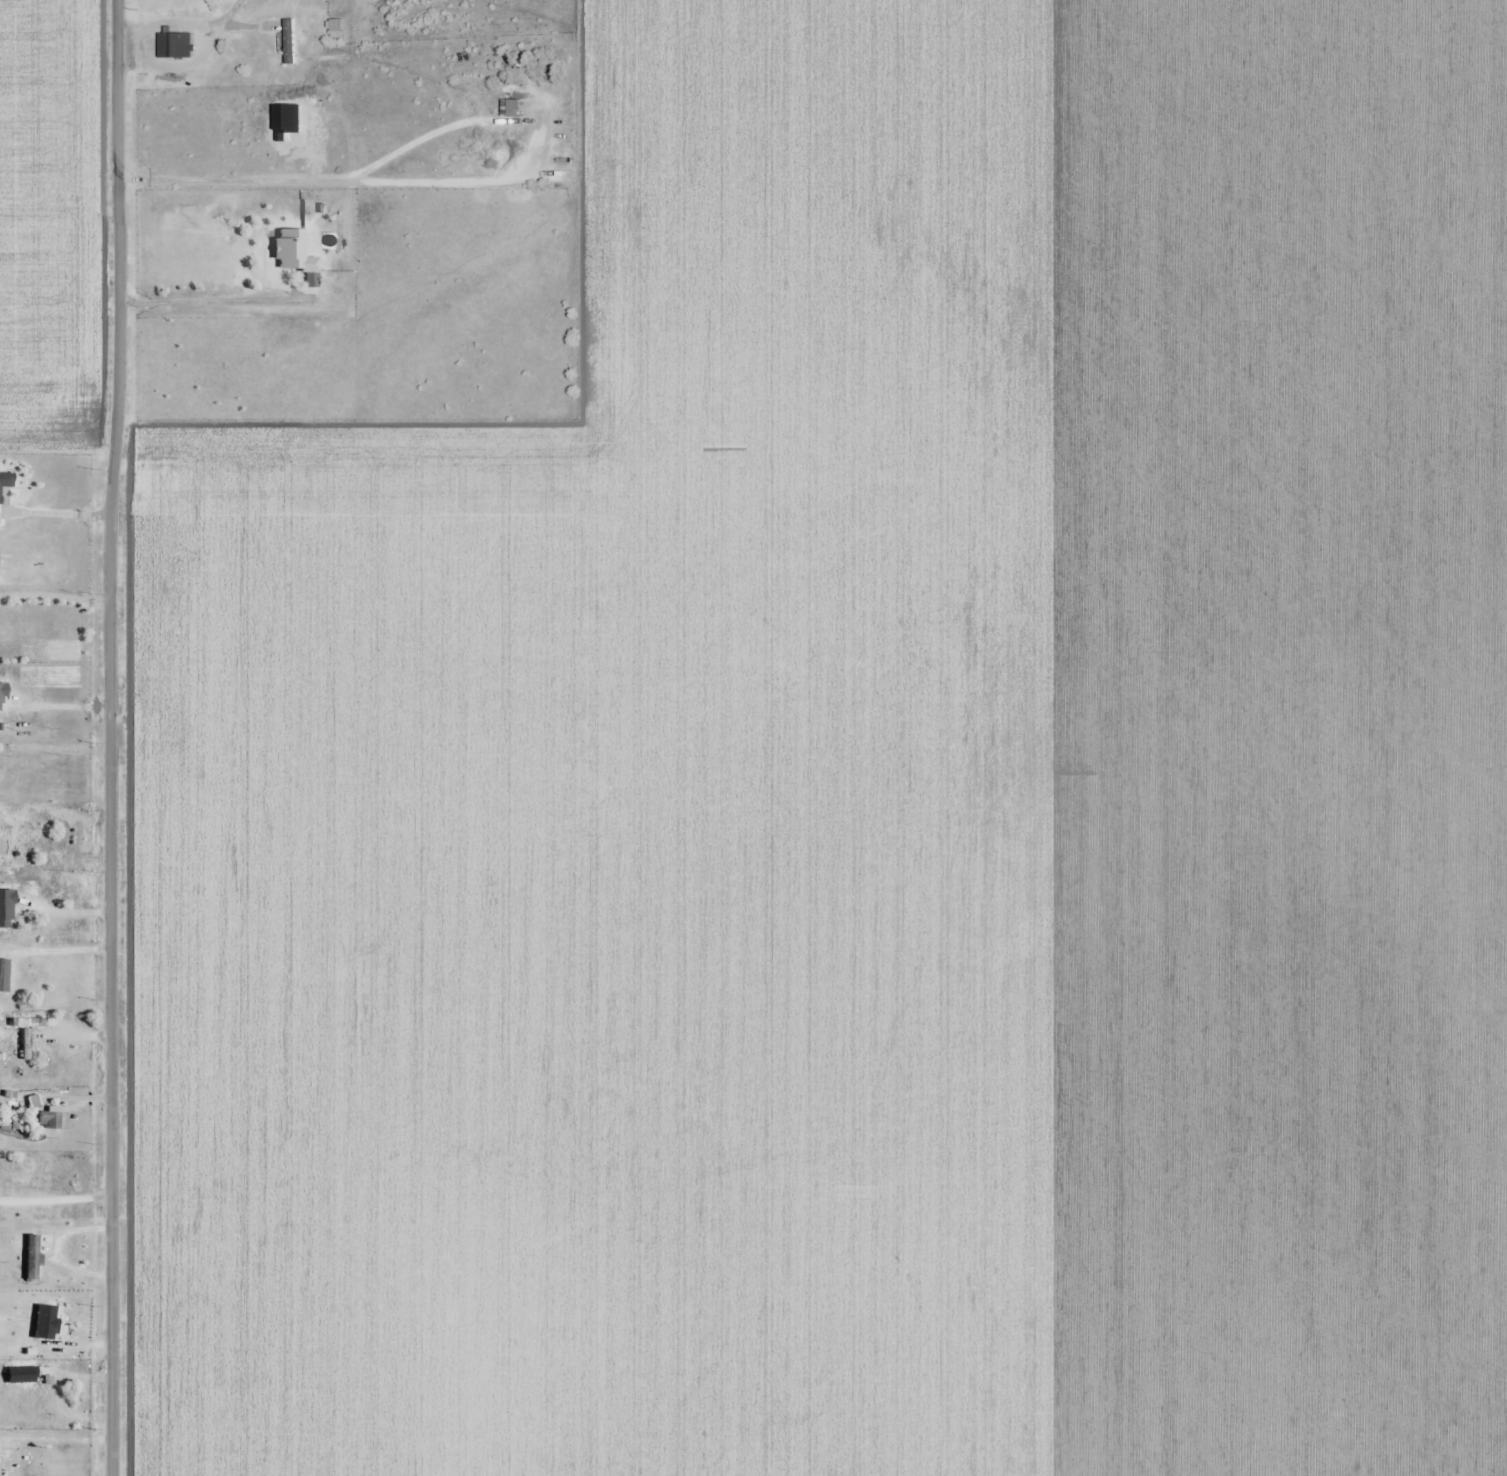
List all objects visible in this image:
building: (339, 27)
building: (289, 37)
building: (177, 45)
building: (517, 108)
building: (293, 251)
building: (6, 481)
road: (55, 517)
road: (111, 738)
building: (33, 864)
building: (13, 910)
building: (1, 958)
building: (32, 1023)
building: (50, 1119)
building: (33, 1258)
building: (40, 1395)

